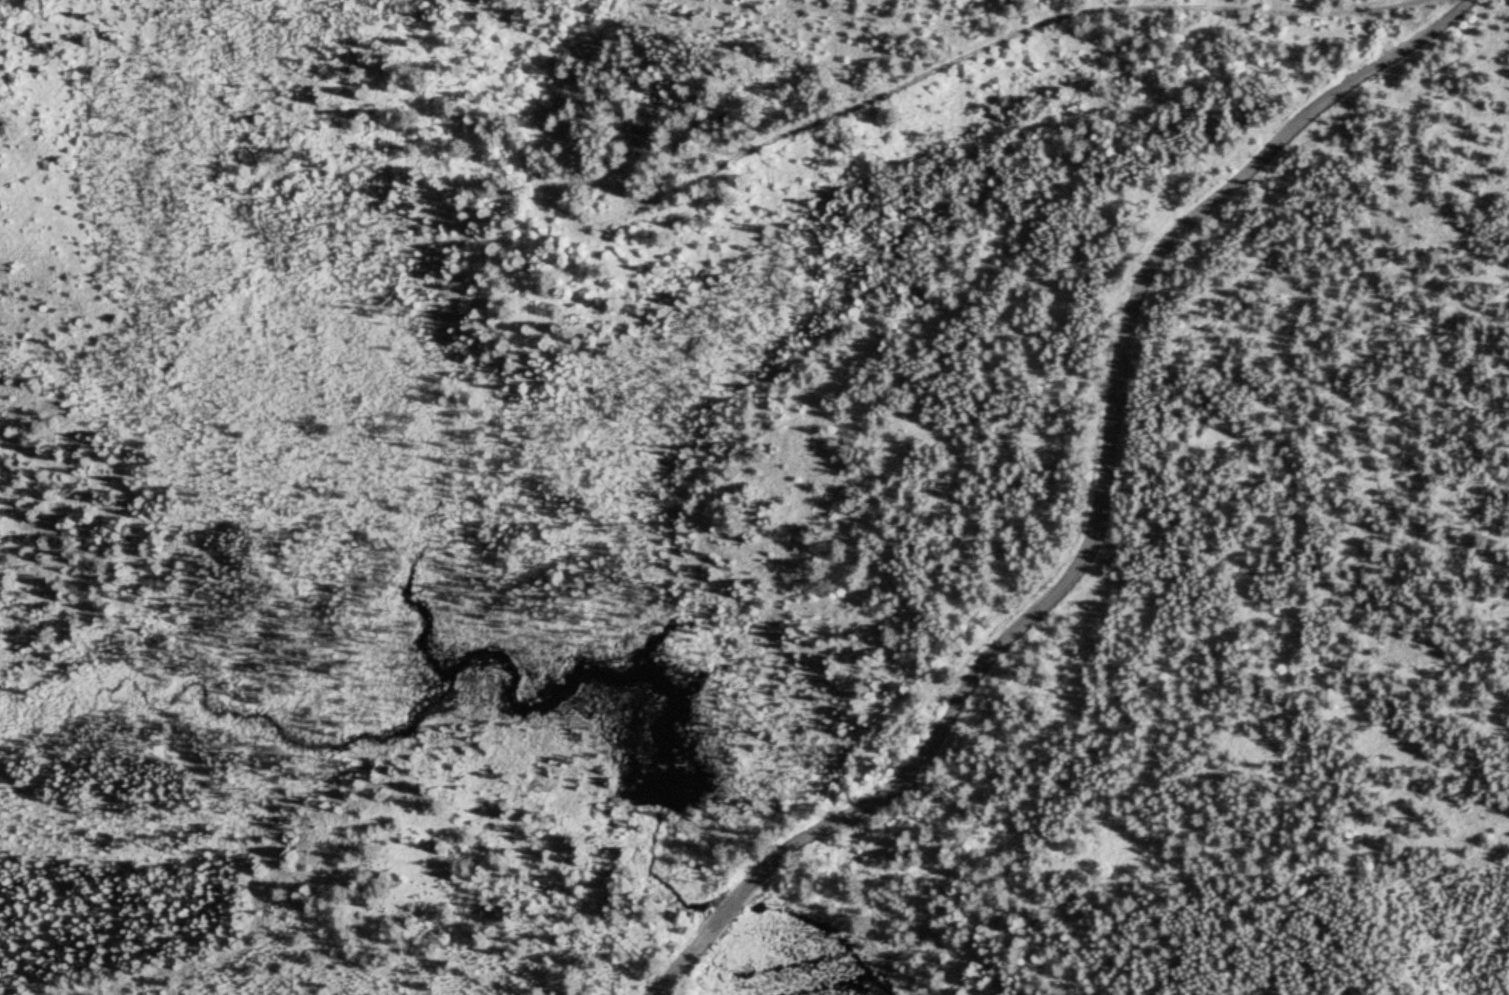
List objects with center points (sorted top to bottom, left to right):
road: (863, 87)
building: (638, 137)
road: (1100, 520)

